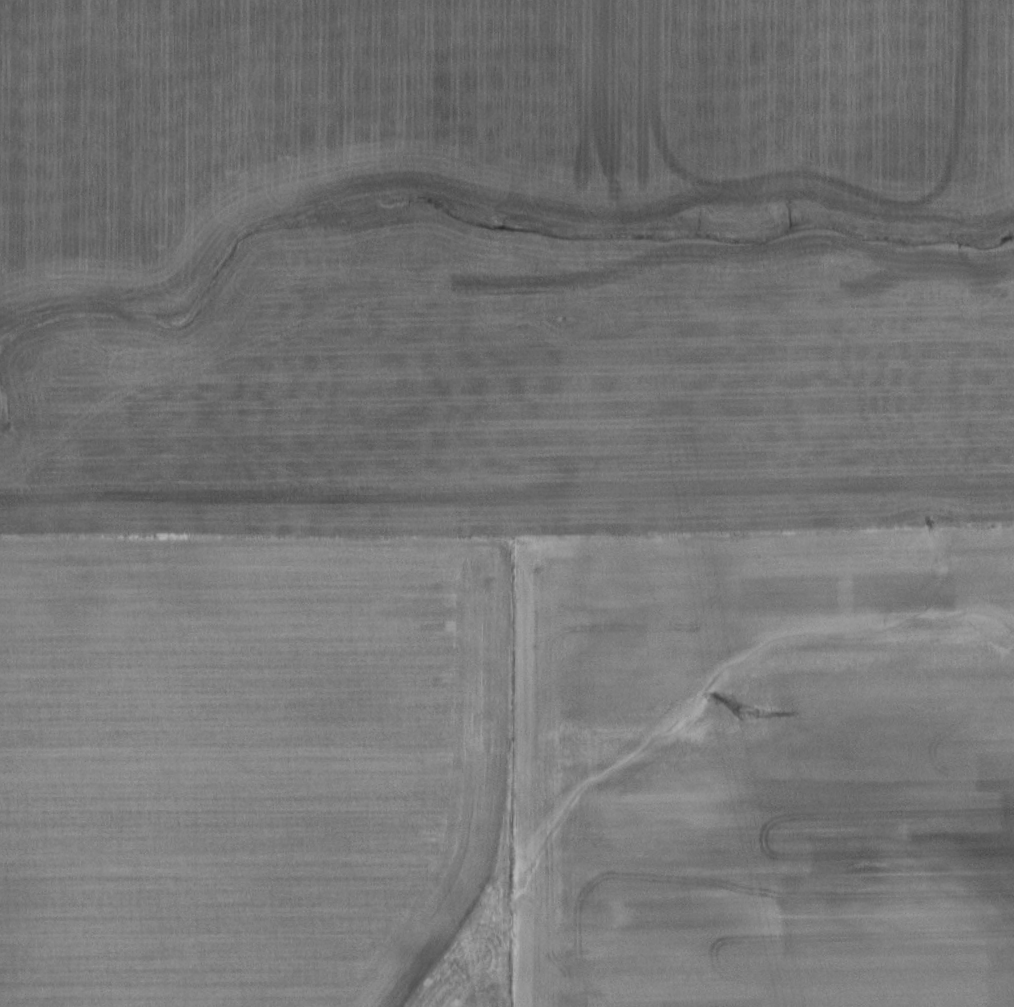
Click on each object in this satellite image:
power tower: (752, 737)

